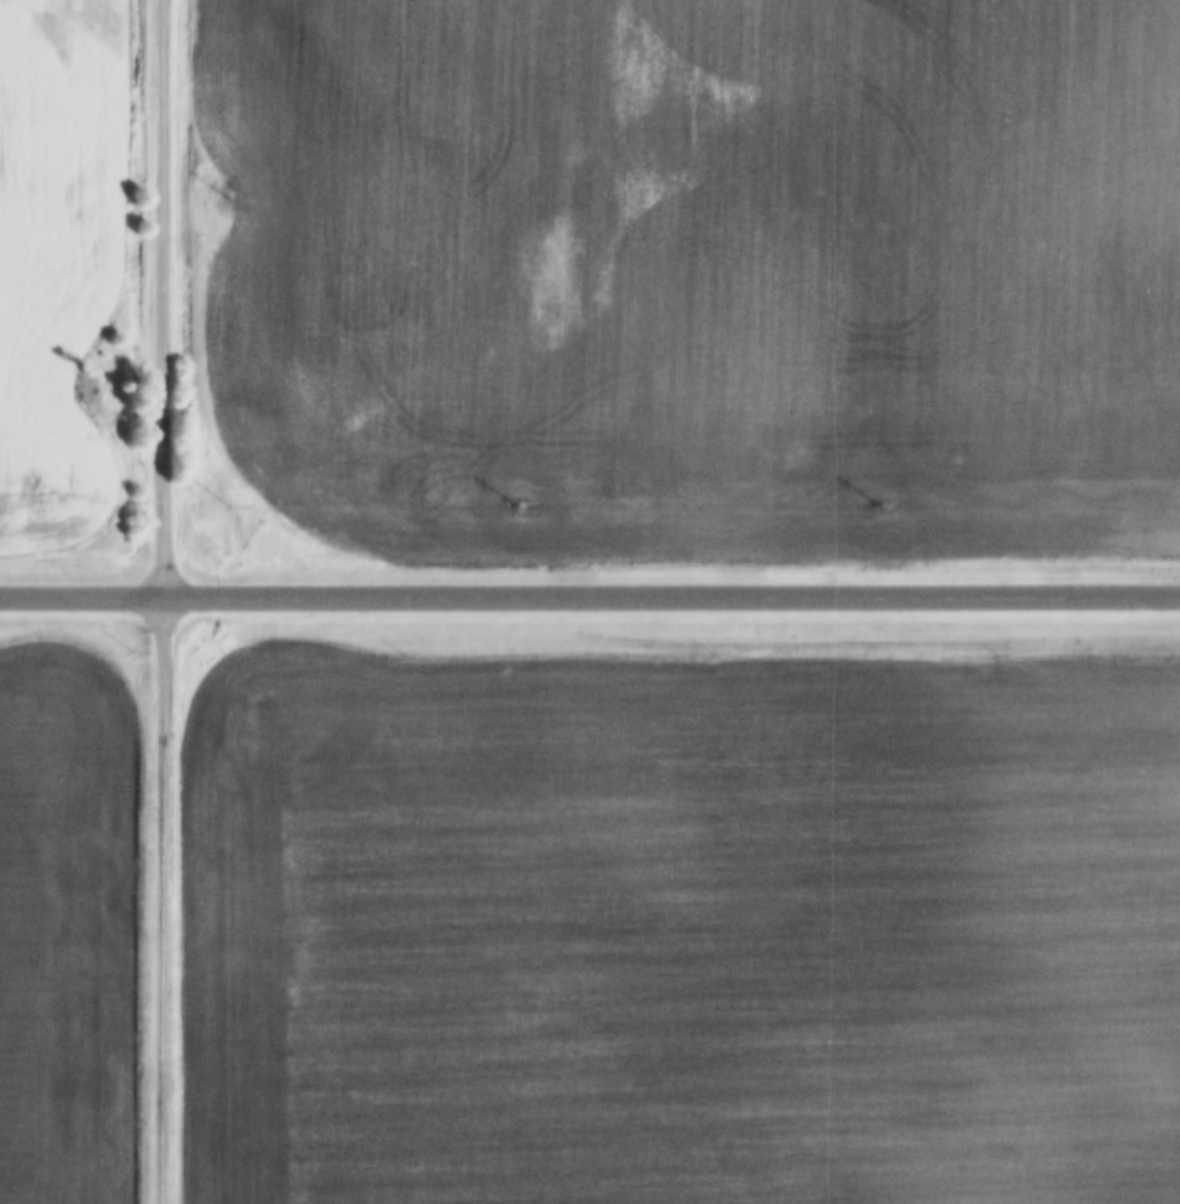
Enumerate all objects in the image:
road: (161, 298)
road: (590, 596)
road: (159, 900)

